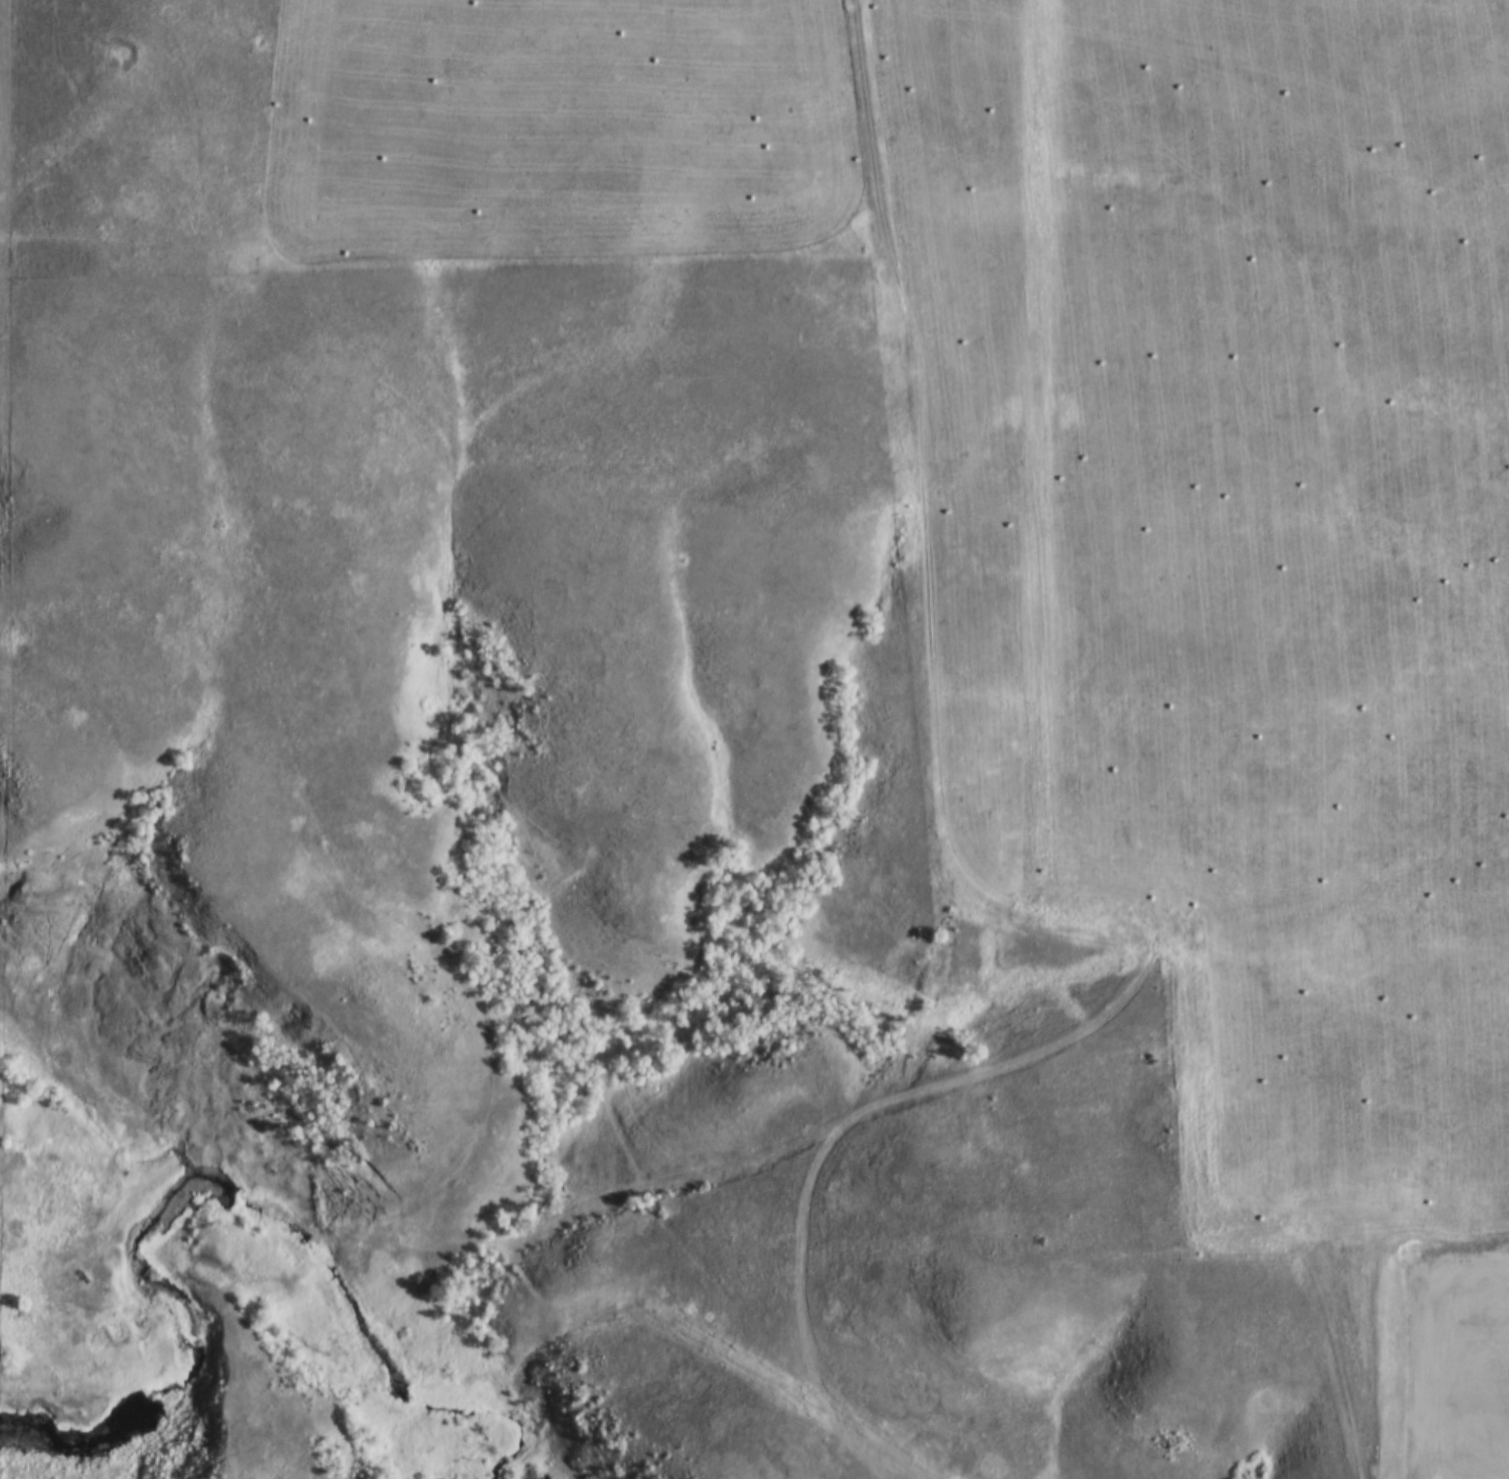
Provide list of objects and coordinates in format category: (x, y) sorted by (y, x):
road: (1471, 1423)

